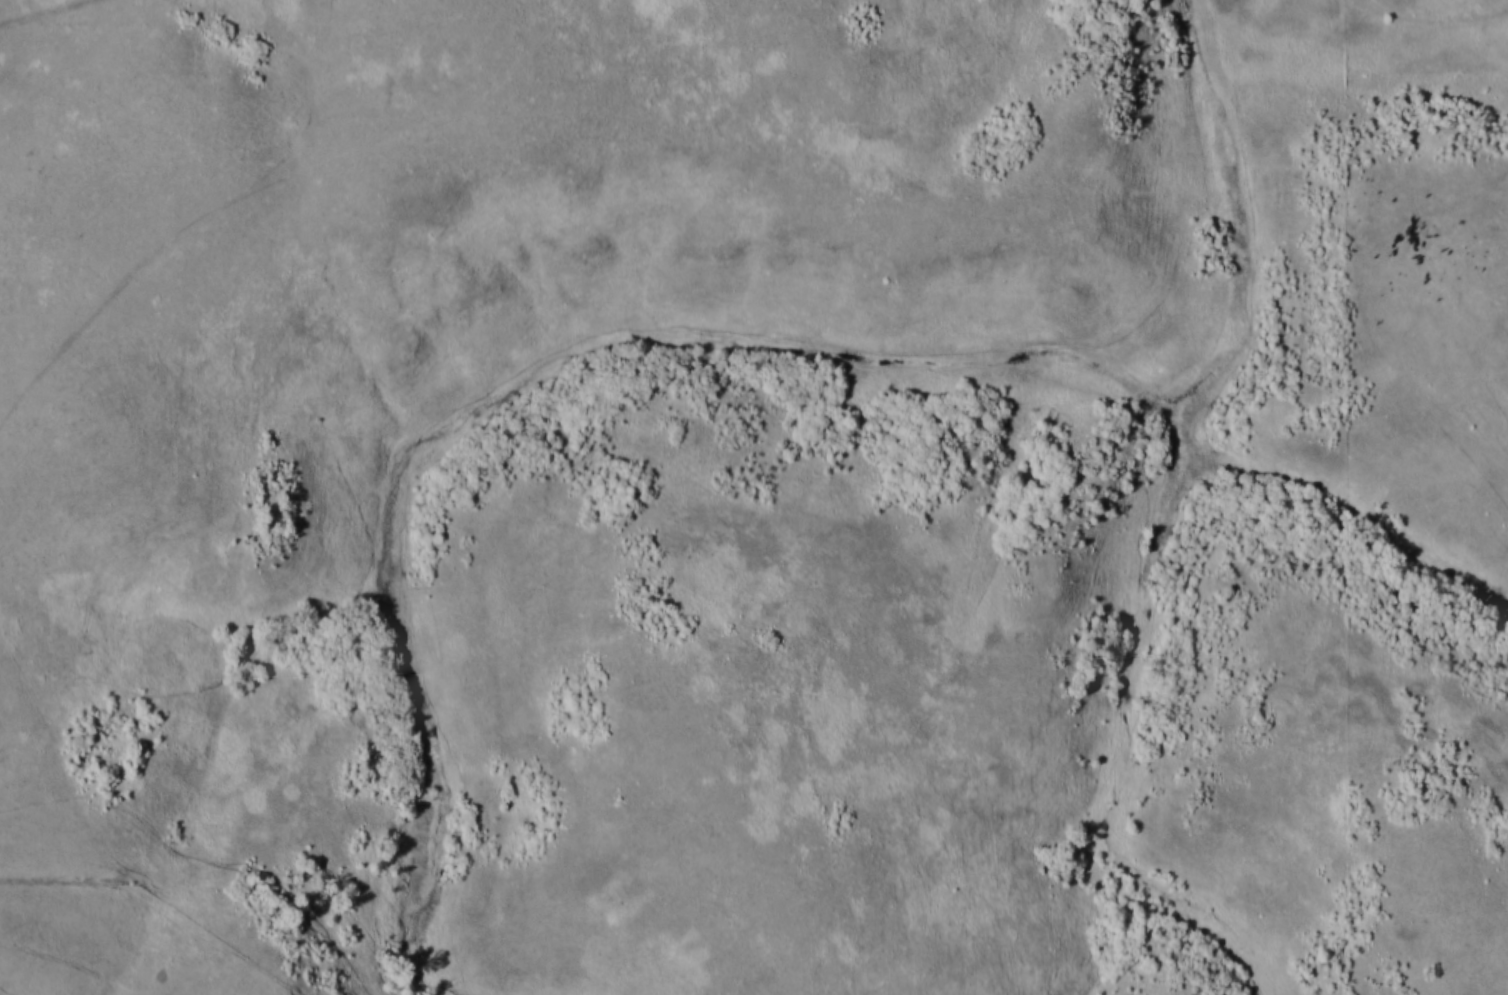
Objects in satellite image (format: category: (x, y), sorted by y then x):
road: (38, 9)
road: (1432, 20)

